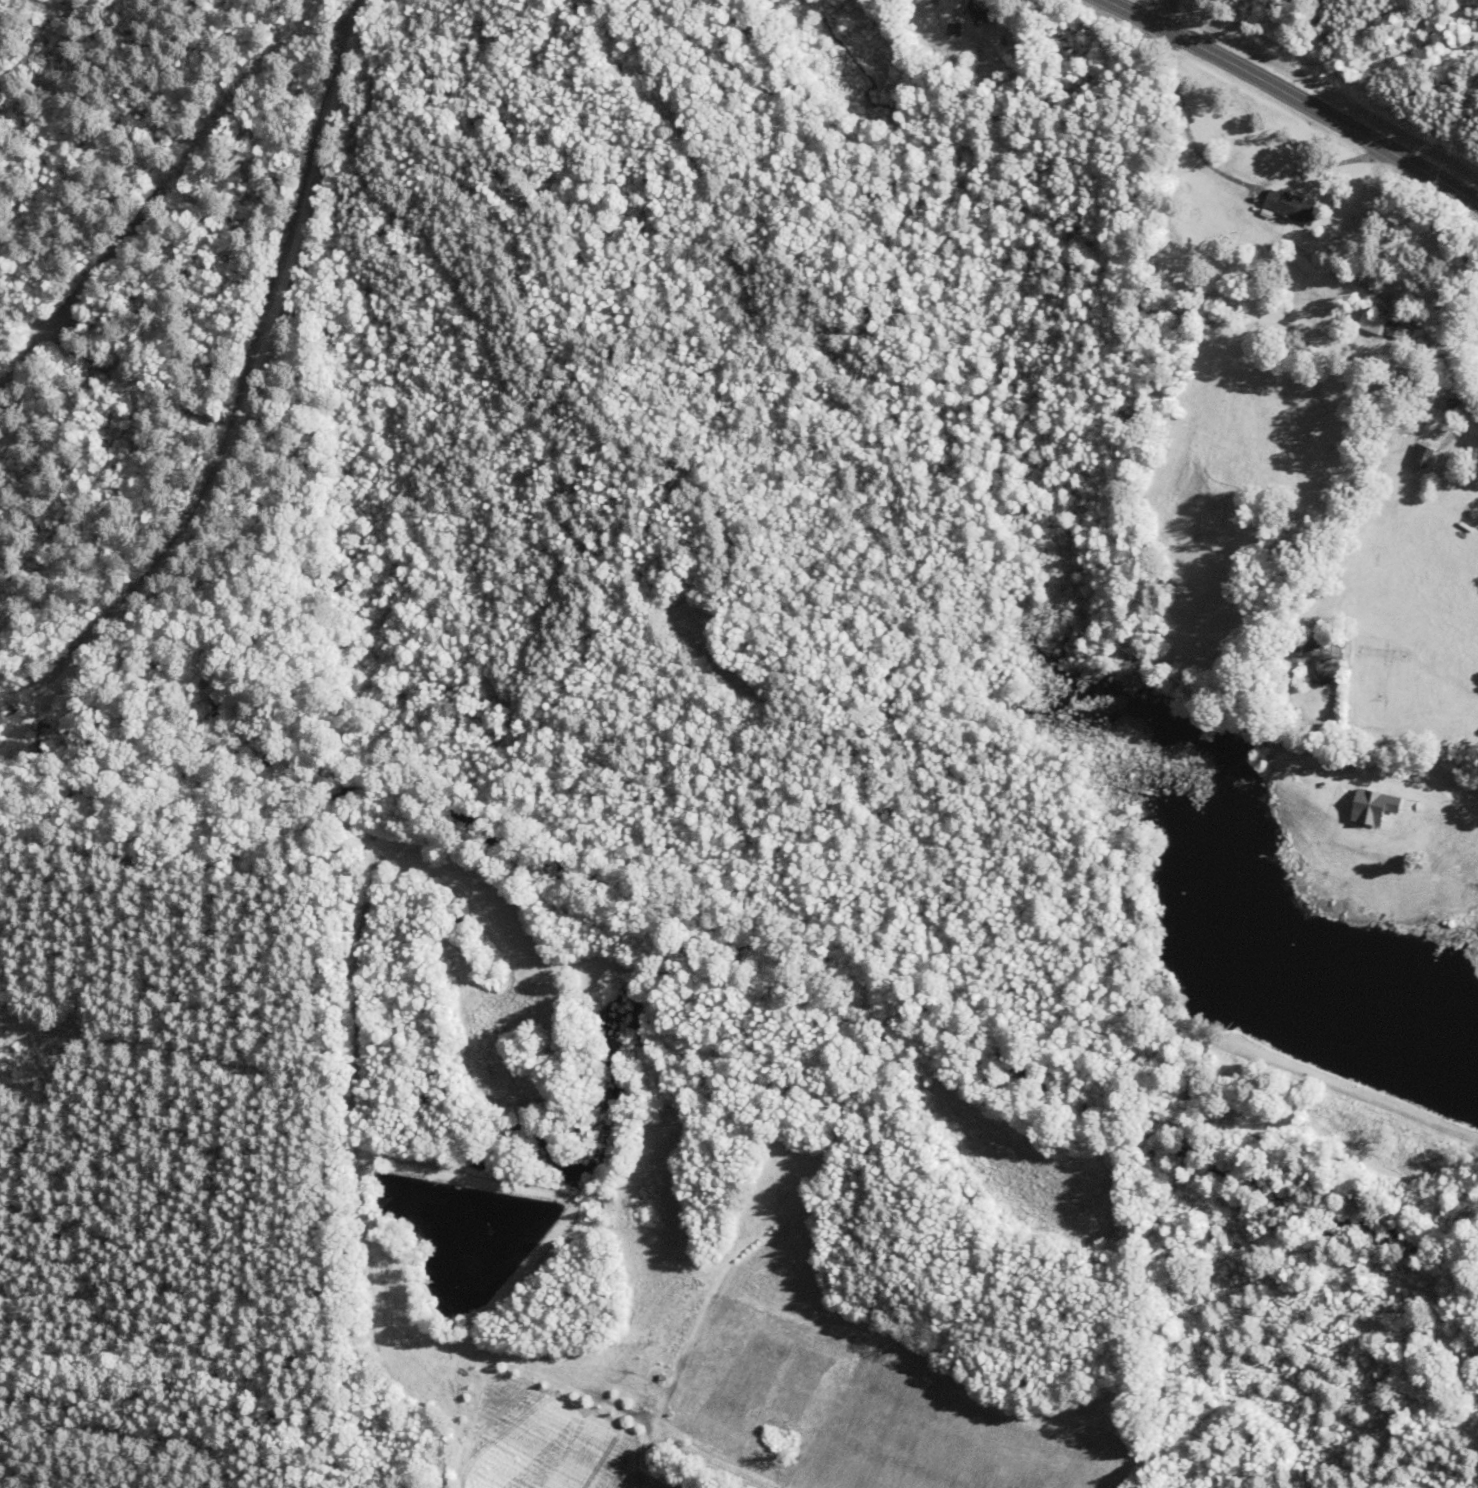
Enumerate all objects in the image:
road: (1165, 15)
road: (1290, 98)
road: (244, 414)

